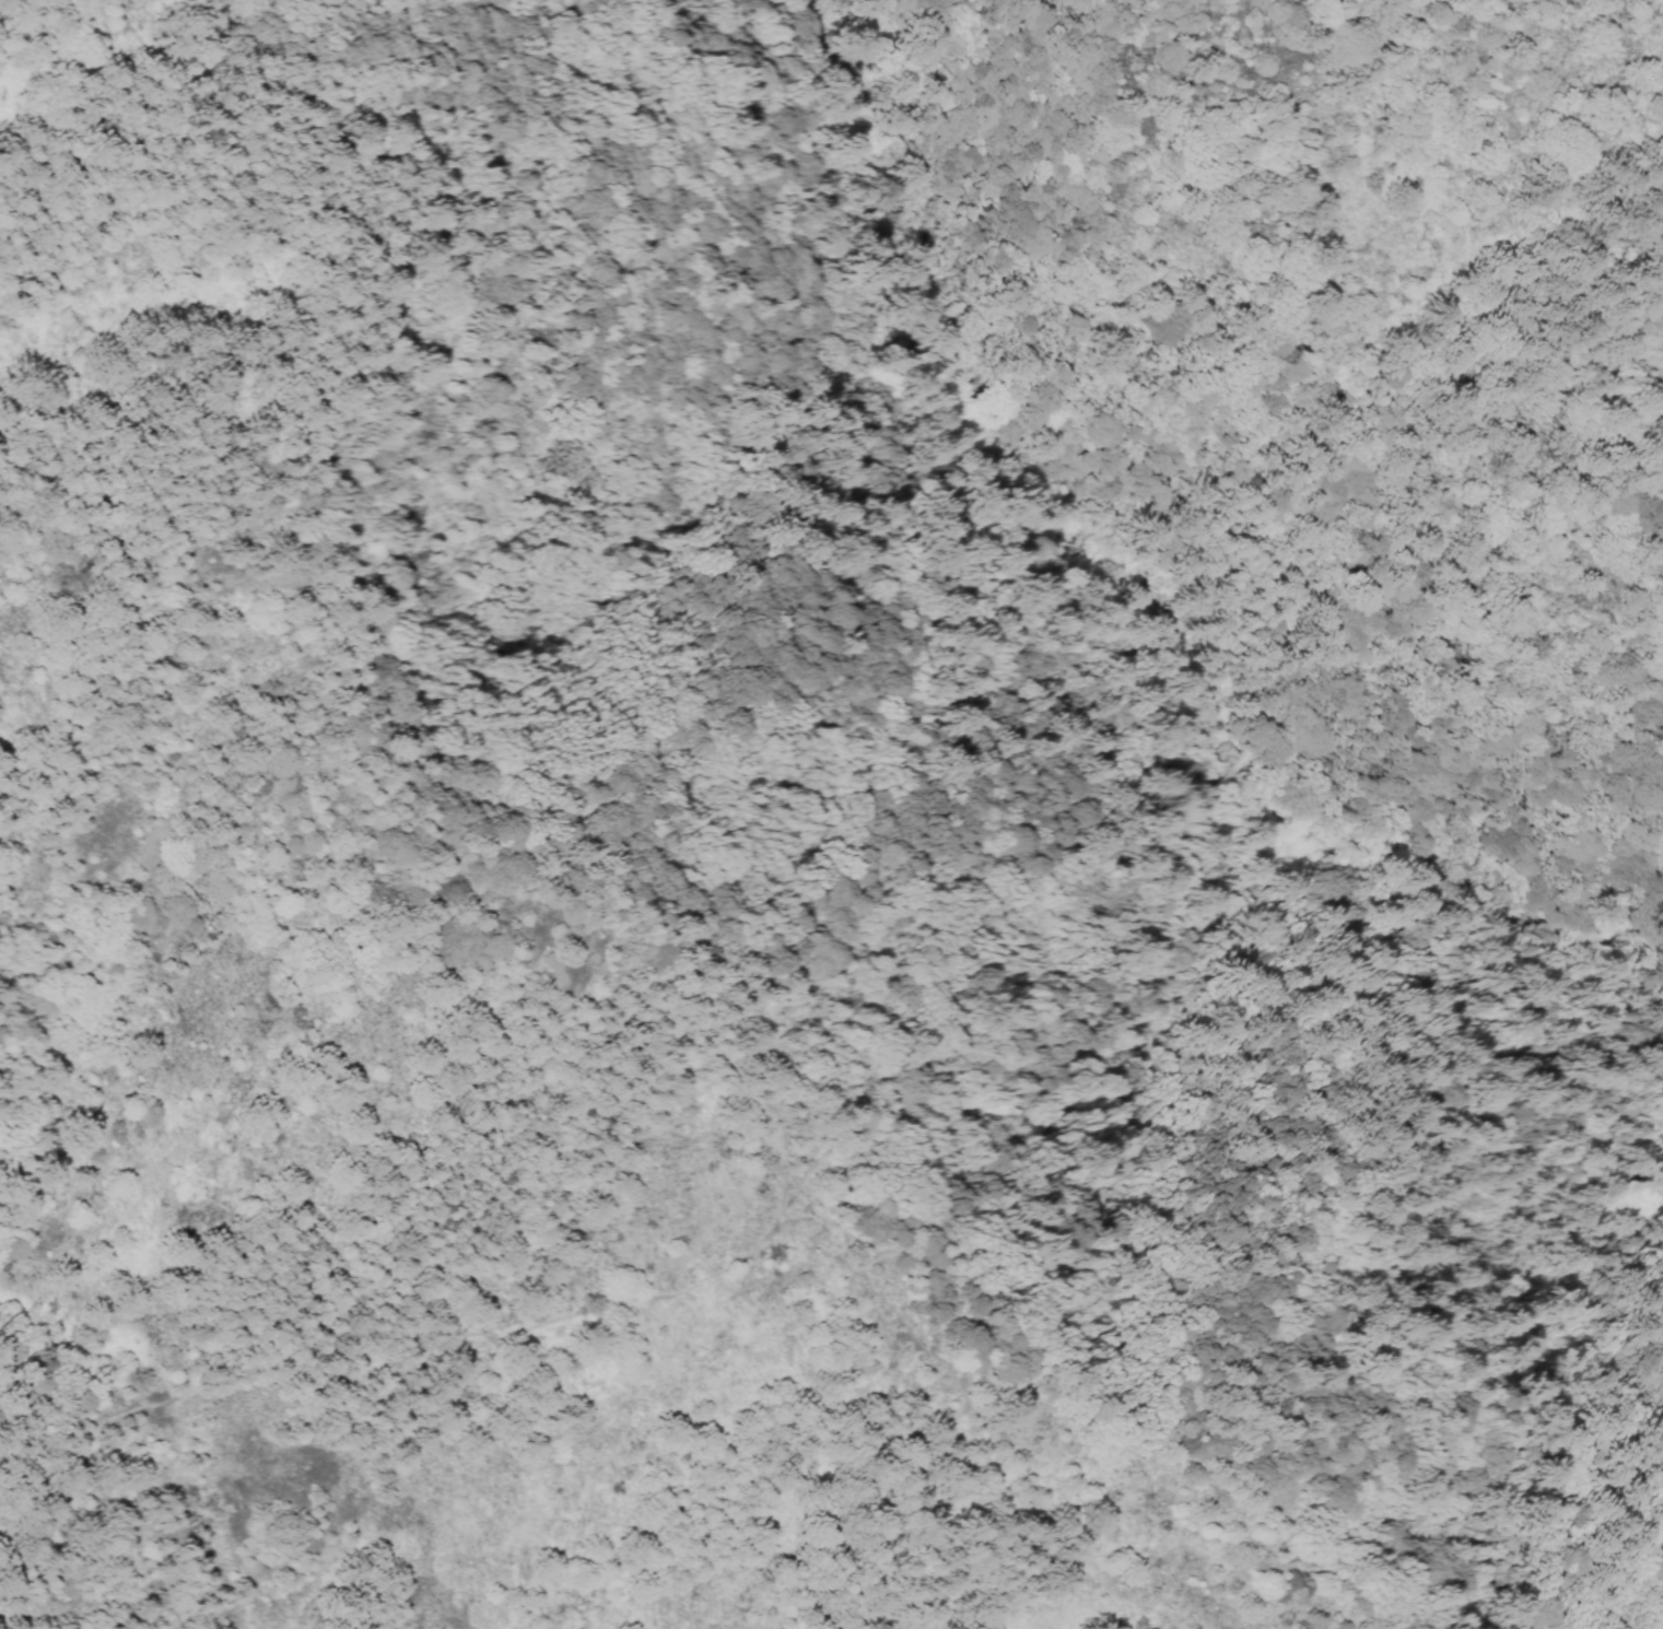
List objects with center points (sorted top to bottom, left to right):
road: (665, 918)

